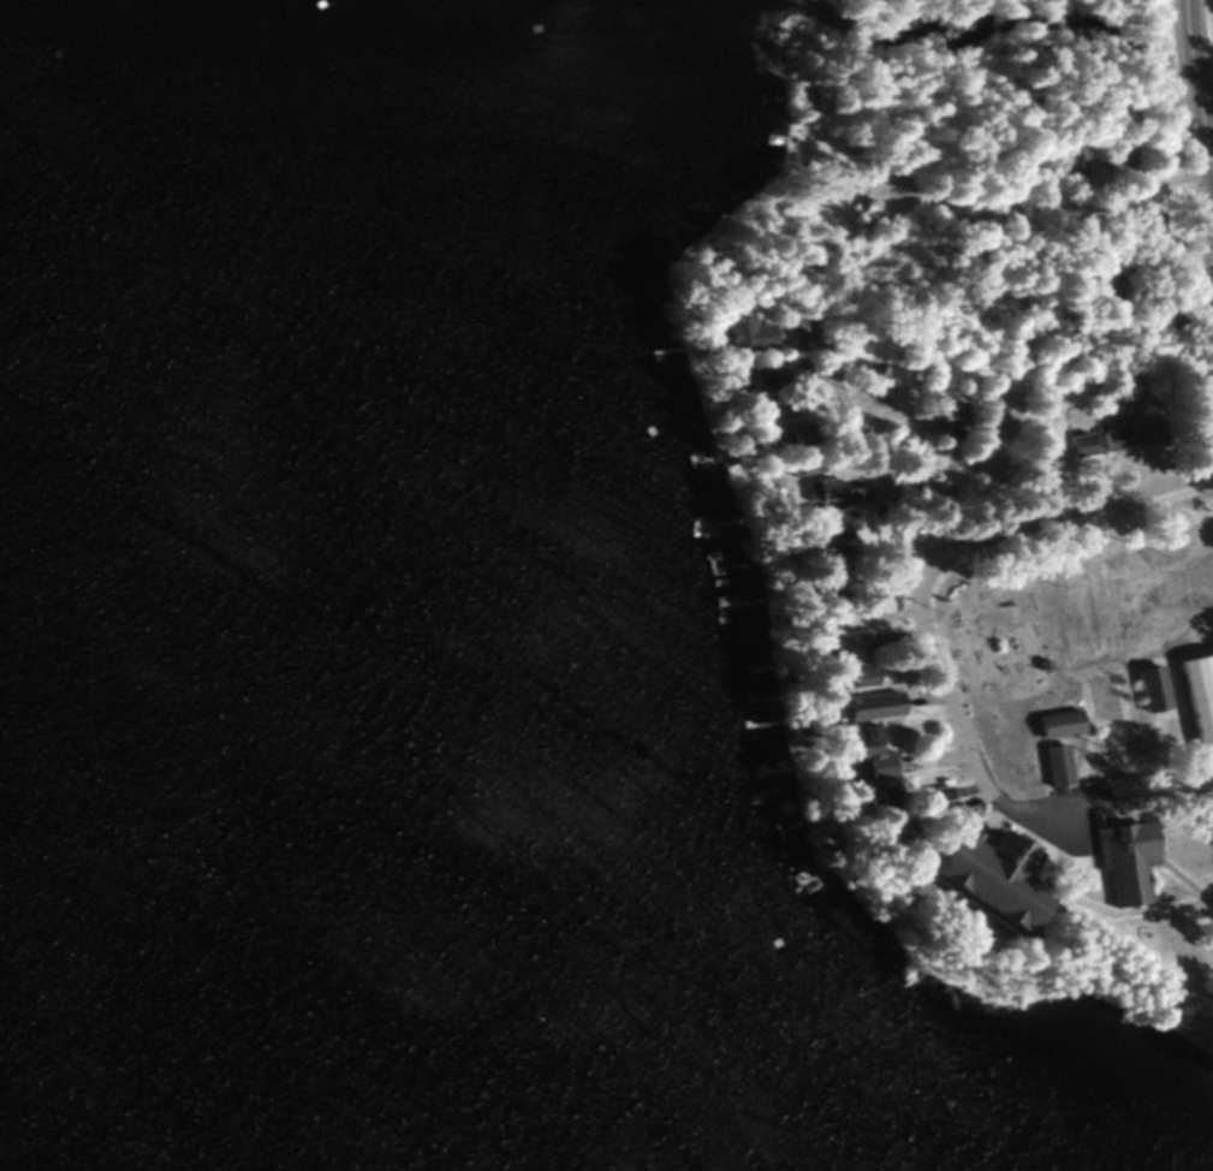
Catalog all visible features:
river: (1175, 32)
road: (1191, 95)
building: (809, 101)
road: (980, 133)
building: (1120, 154)
building: (1070, 162)
building: (860, 230)
road: (1080, 246)
building: (742, 337)
building: (771, 391)
road: (903, 414)
building: (940, 414)
building: (1138, 434)
building: (1108, 440)
building: (1076, 445)
building: (808, 466)
road: (1066, 505)
building: (826, 525)
building: (822, 558)
building: (840, 646)
road: (927, 664)
building: (844, 677)
building: (1147, 688)
building: (1197, 703)
building: (864, 706)
building: (1053, 723)
building: (864, 750)
building: (1051, 765)
building: (870, 796)
road: (1086, 801)
building: (888, 830)
building: (1120, 861)
building: (983, 876)

